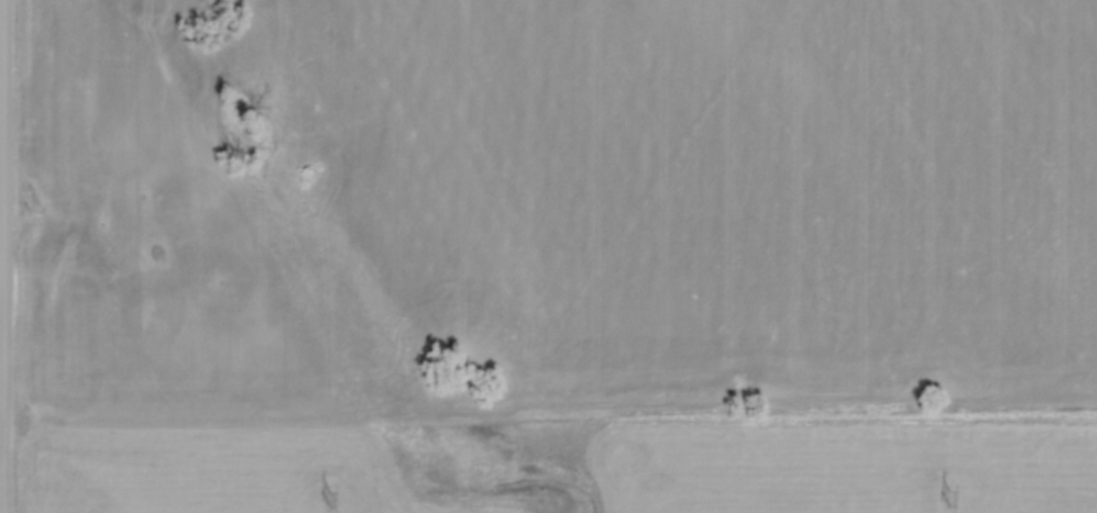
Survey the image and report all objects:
crop: (720, 186)
road: (4, 256)
road: (2, 272)
crop: (173, 304)
road: (2, 413)
crop: (848, 472)
power tower: (330, 497)
power tower: (951, 497)

